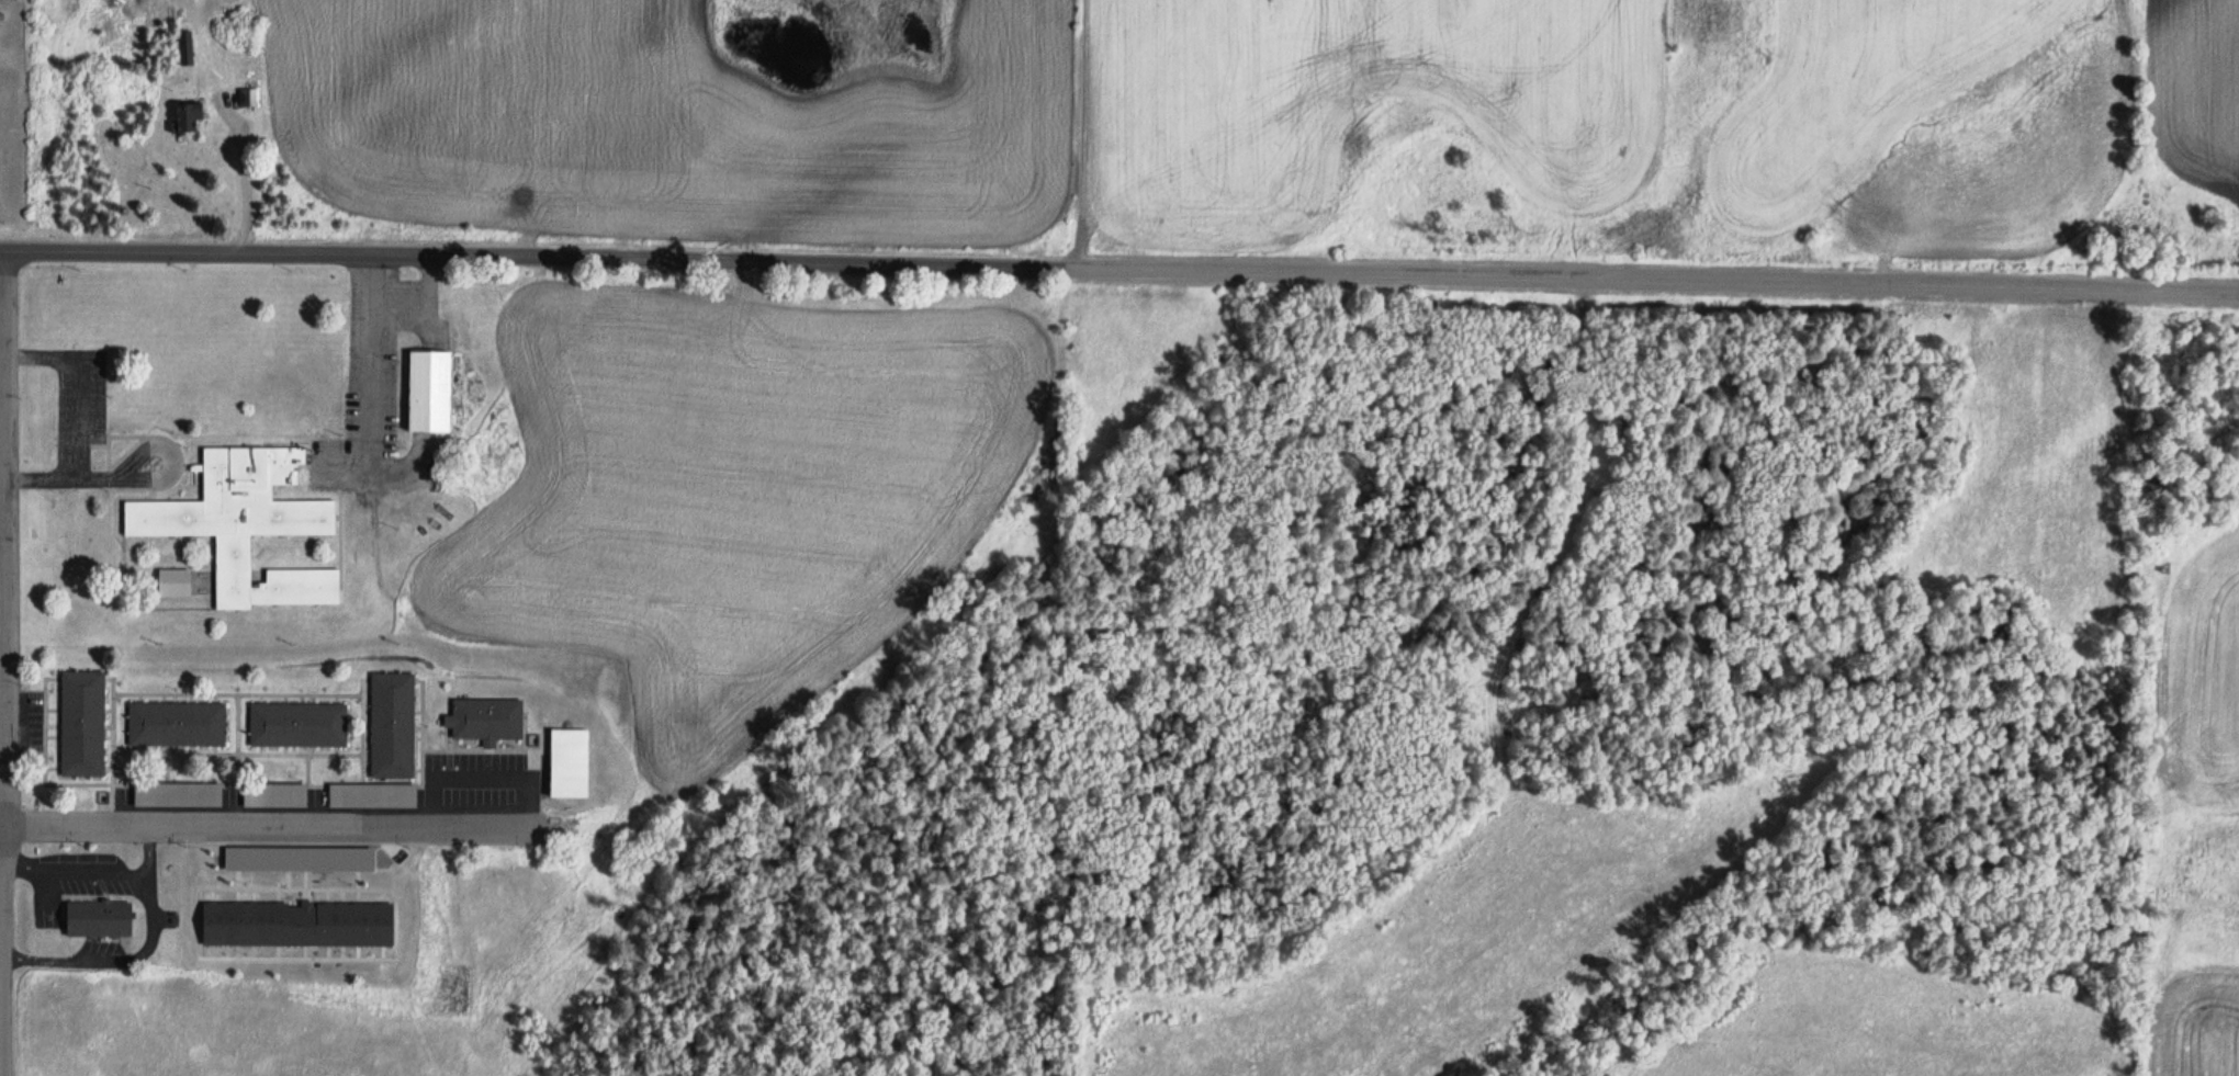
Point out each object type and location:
building: (9, 0)
building: (182, 46)
building: (243, 95)
building: (181, 114)
road: (1083, 135)
road: (1, 253)
road: (1121, 271)
road: (368, 365)
road: (76, 384)
building: (427, 385)
road: (380, 469)
road: (131, 477)
building: (240, 518)
road: (1, 536)
building: (170, 578)
road: (3, 665)
building: (484, 721)
building: (80, 725)
building: (175, 725)
building: (297, 726)
building: (391, 727)
building: (569, 754)
building: (176, 796)
building: (273, 797)
building: (371, 797)
road: (269, 826)
building: (95, 920)

